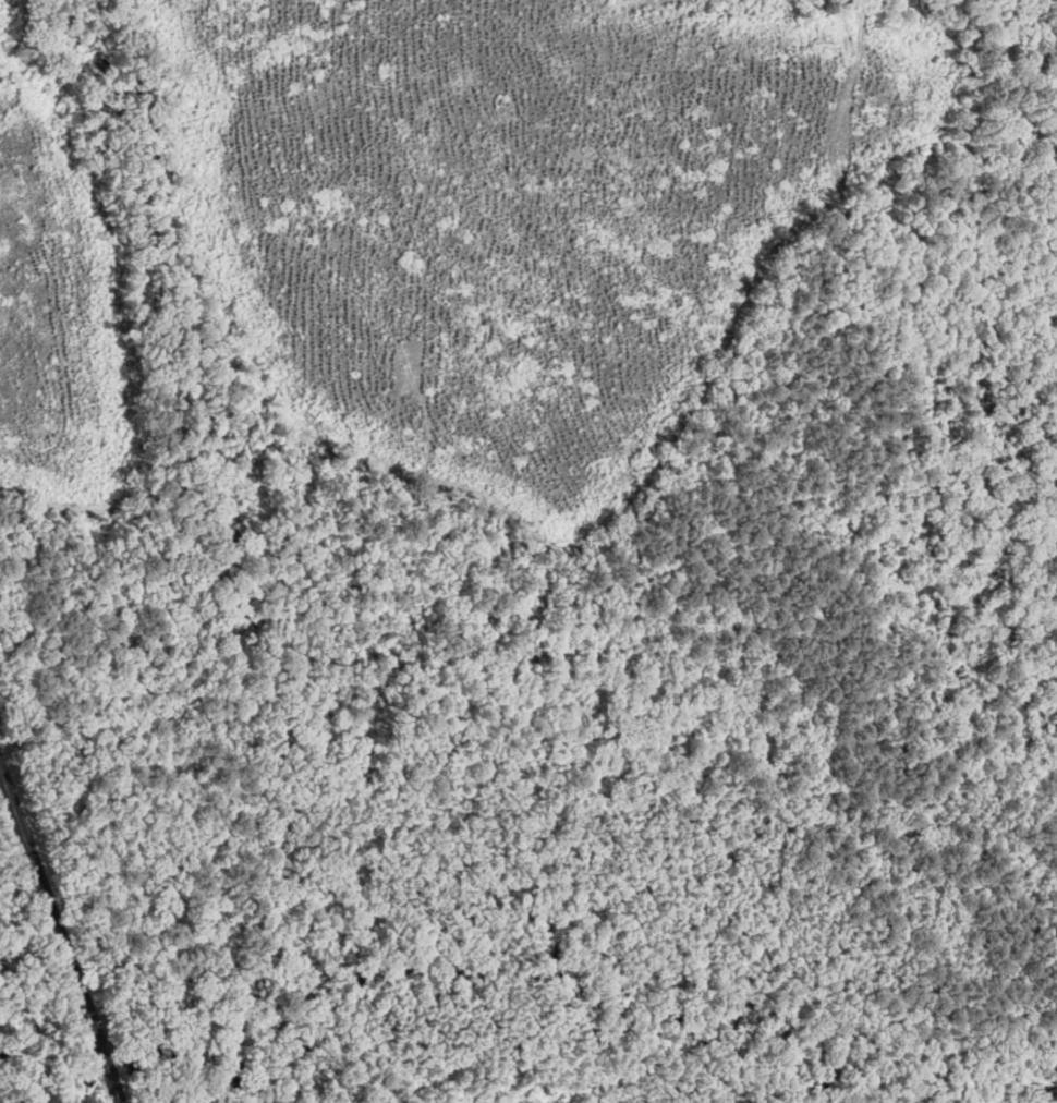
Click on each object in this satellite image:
road: (60, 935)

